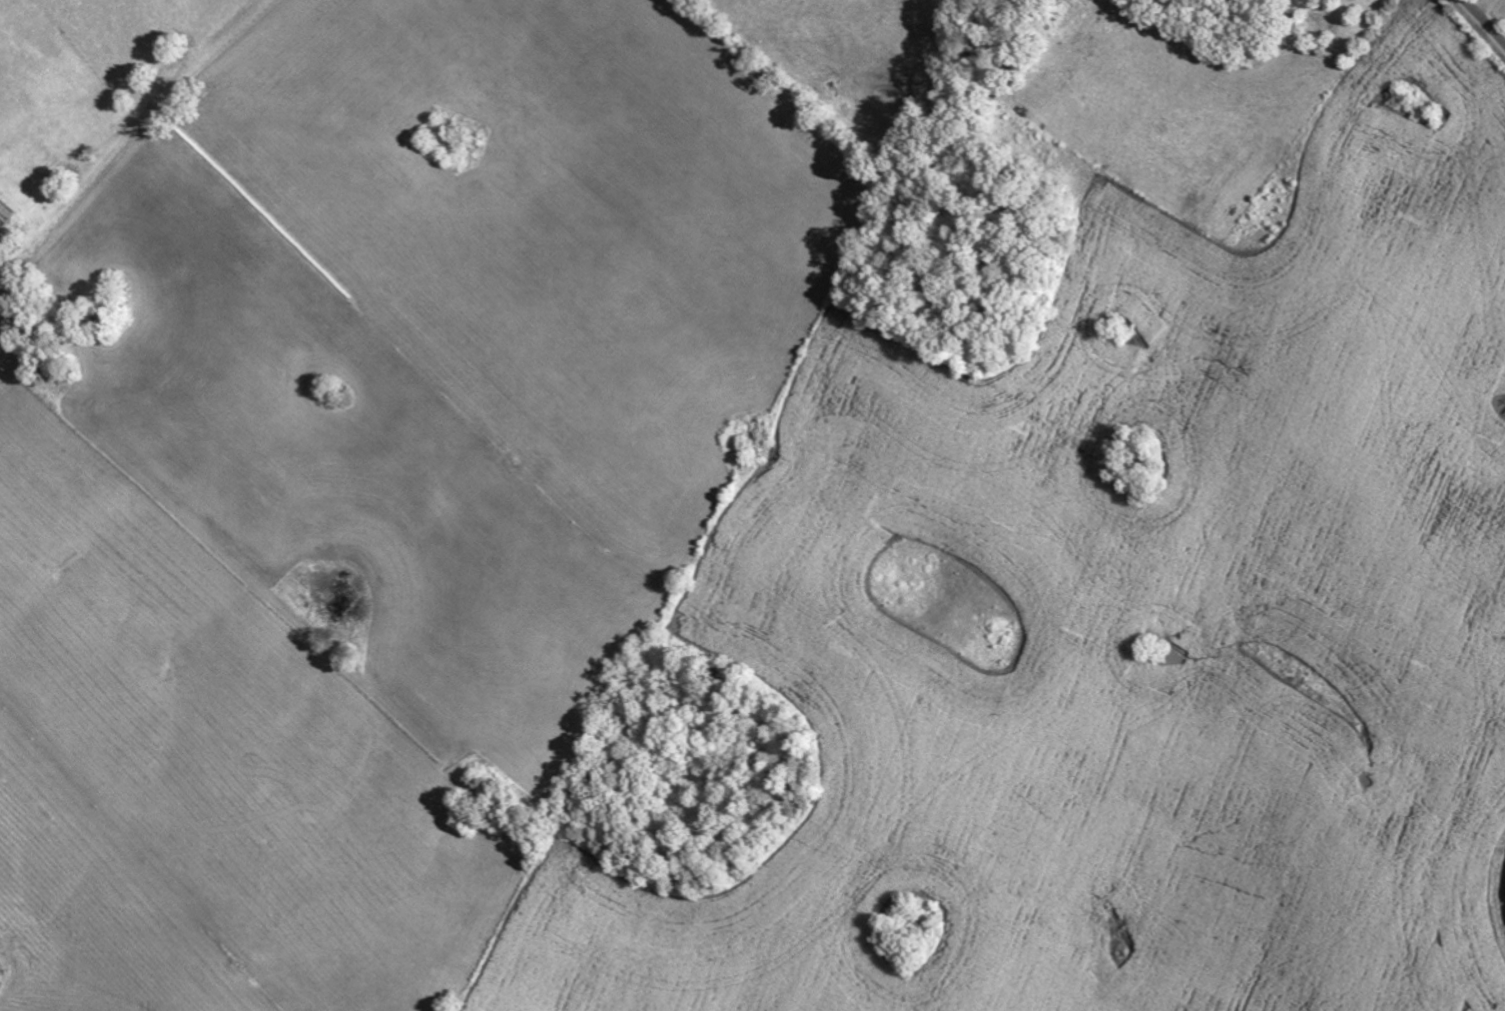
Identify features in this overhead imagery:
road: (1484, 21)

